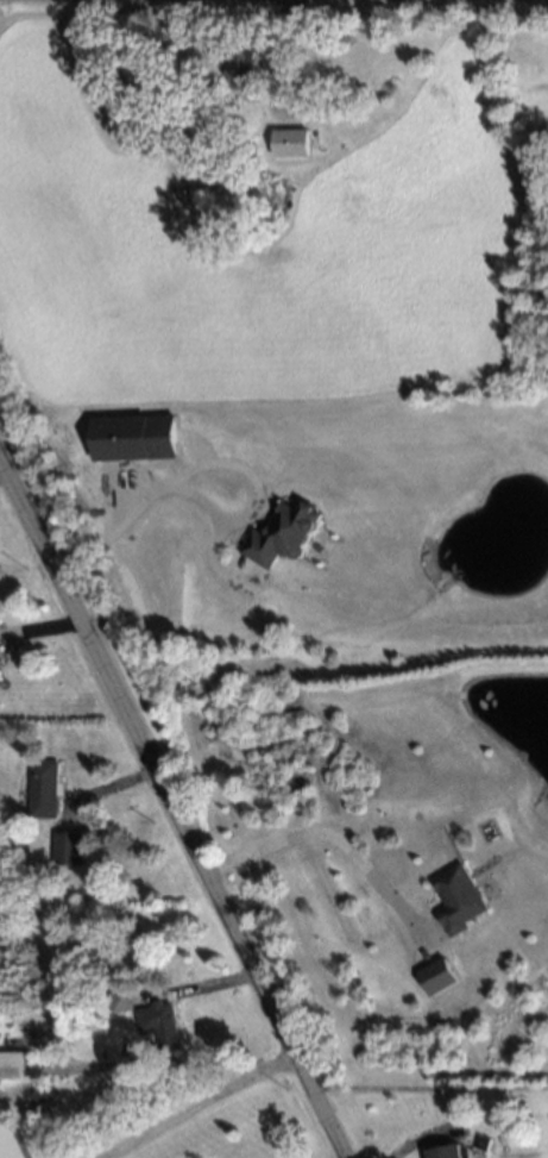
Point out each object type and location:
building: (246, 69)
building: (292, 143)
building: (134, 437)
road: (133, 512)
building: (283, 534)
building: (44, 789)
road: (170, 815)
road: (328, 835)
building: (68, 849)
building: (459, 899)
building: (439, 976)
building: (160, 1024)
building: (12, 1065)
road: (181, 1101)
building: (10, 1135)
building: (448, 1152)

